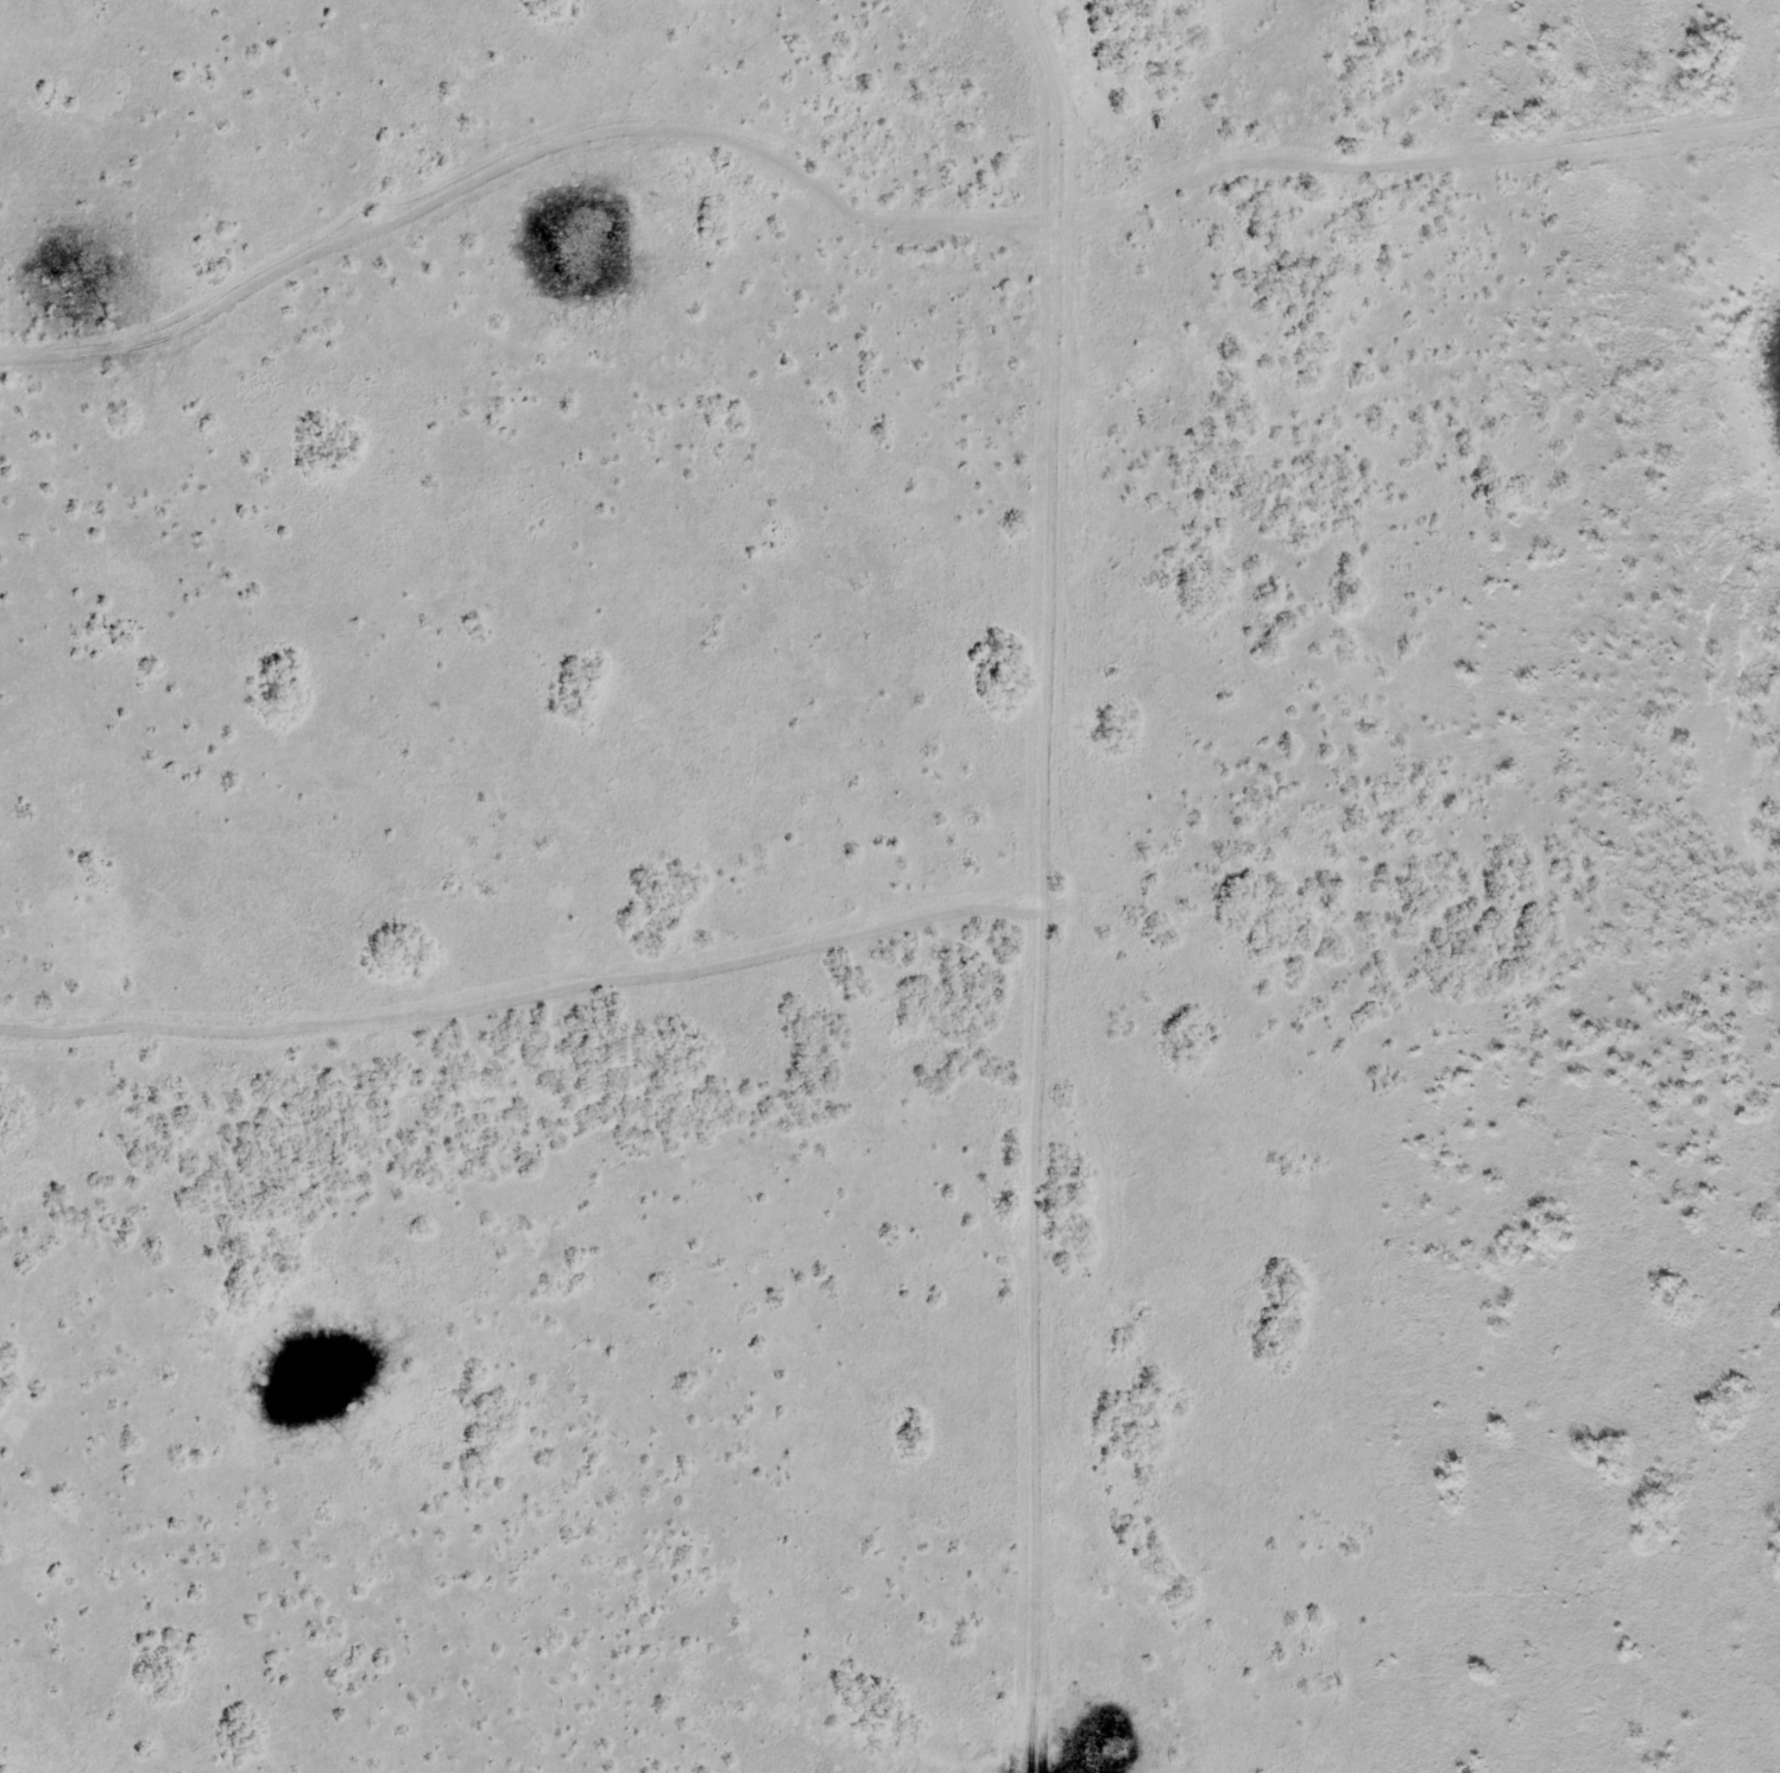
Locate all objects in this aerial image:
road: (978, 894)

